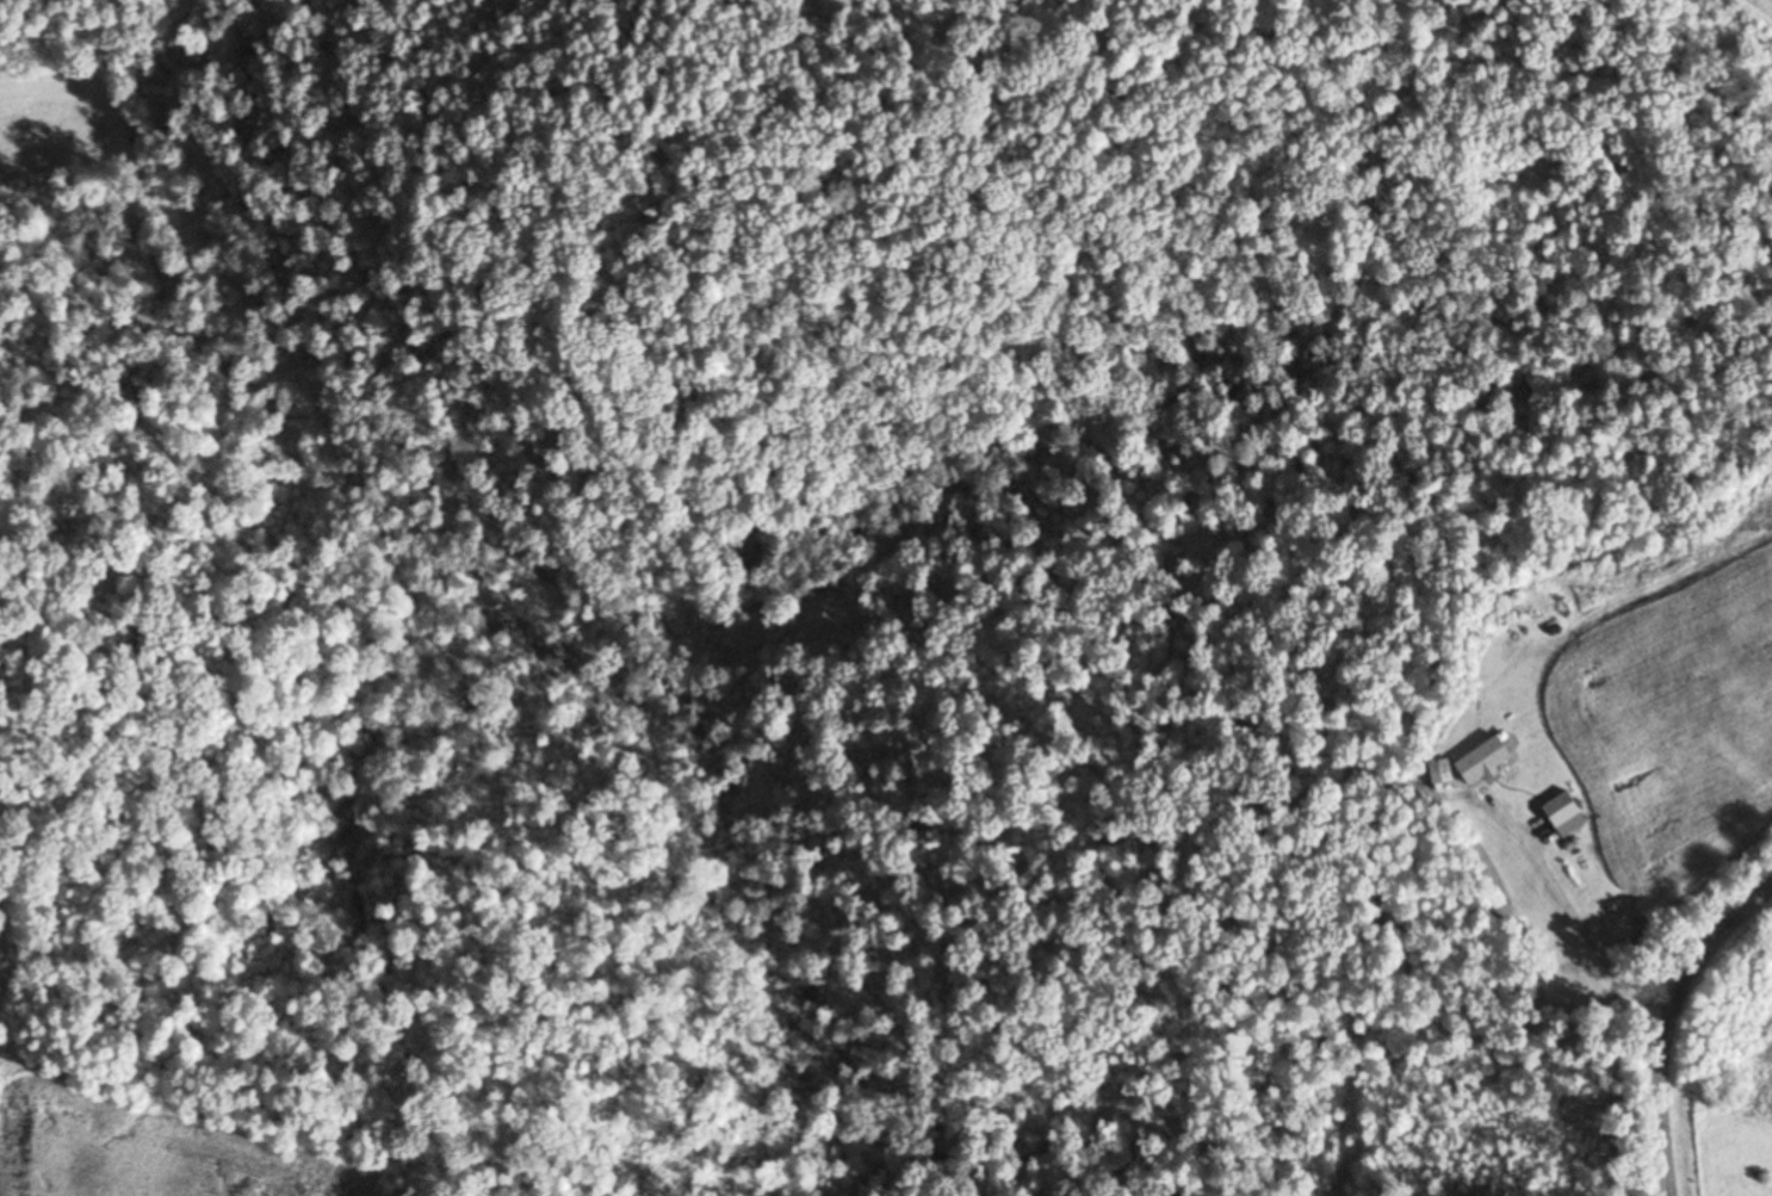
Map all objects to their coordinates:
building: (1476, 762)
building: (1554, 811)
road: (1568, 907)
road: (1662, 1016)

